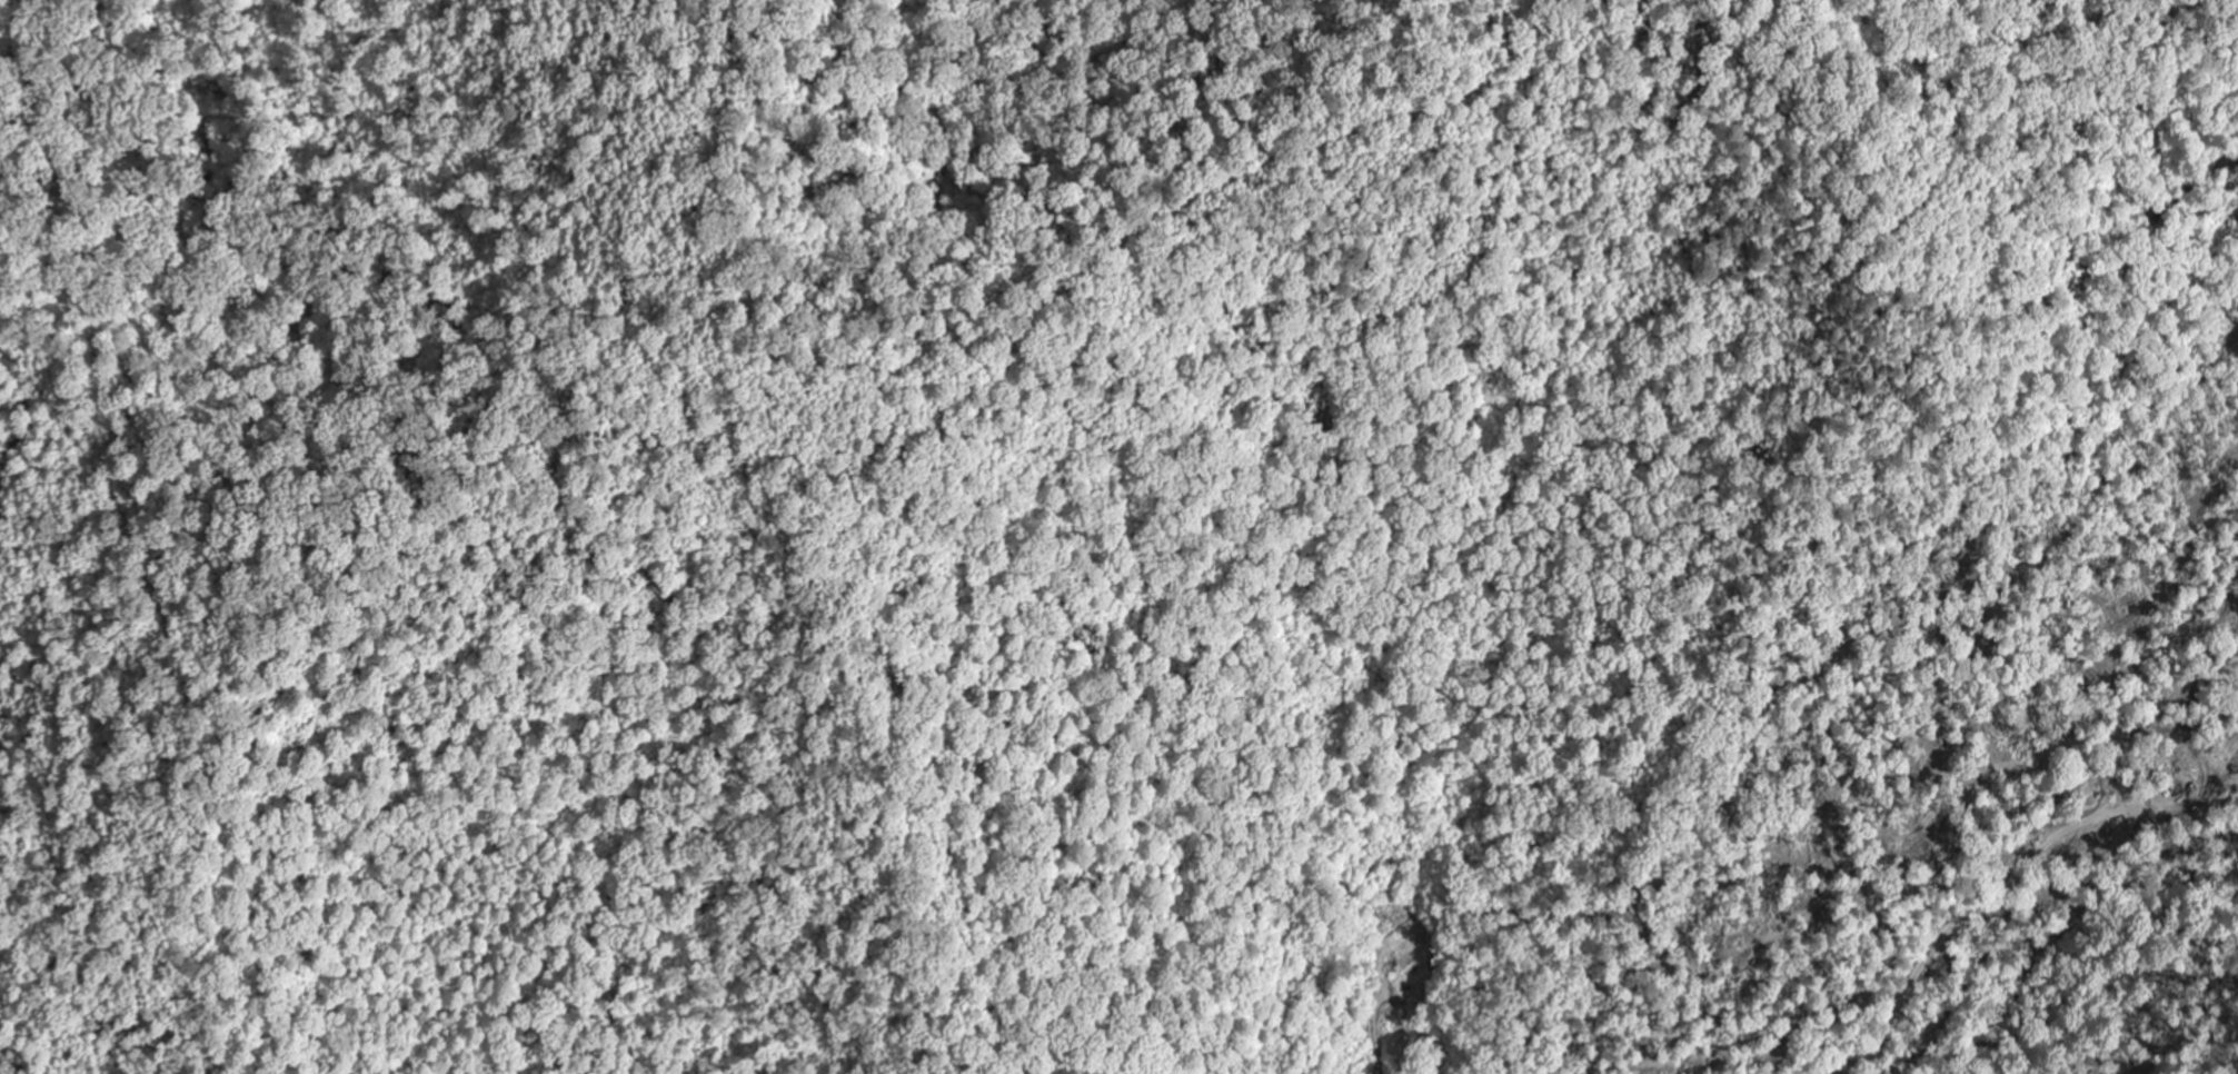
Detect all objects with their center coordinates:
park: (171, 223)
road: (1374, 1032)

